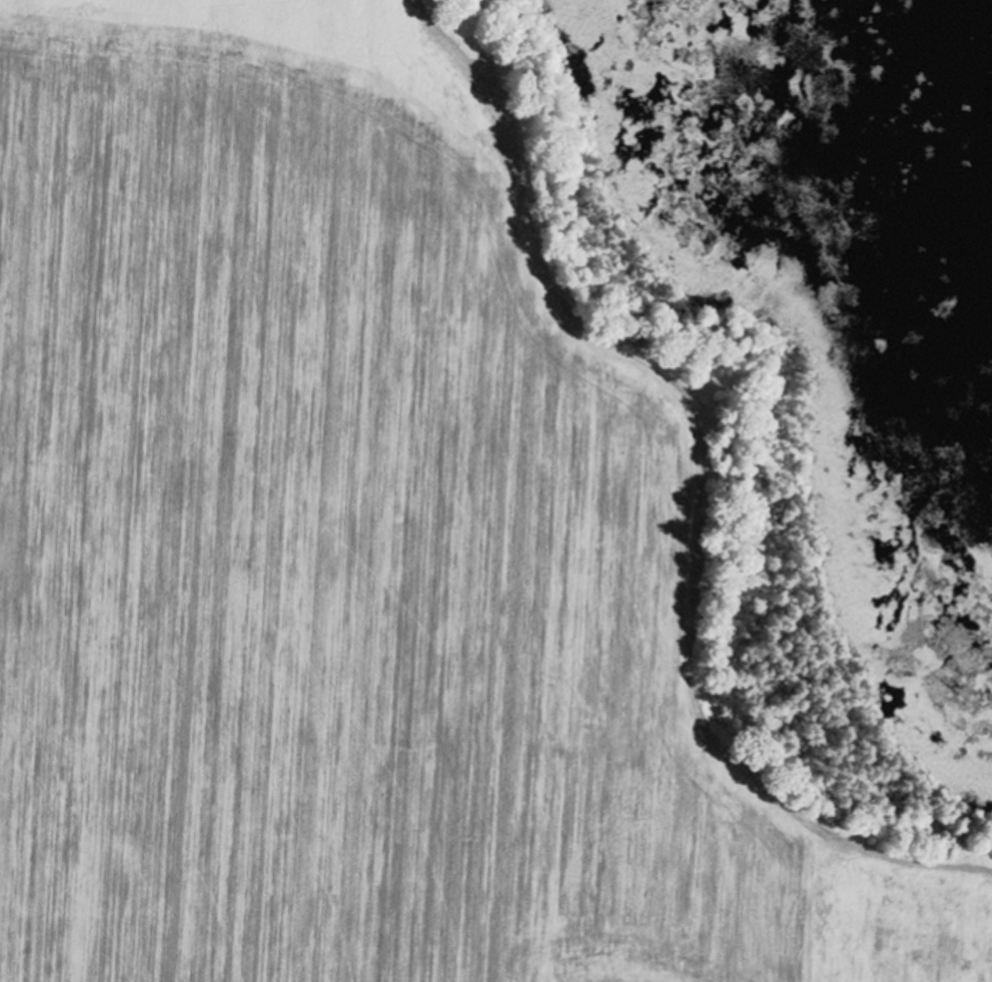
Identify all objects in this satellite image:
crop: (360, 551)

